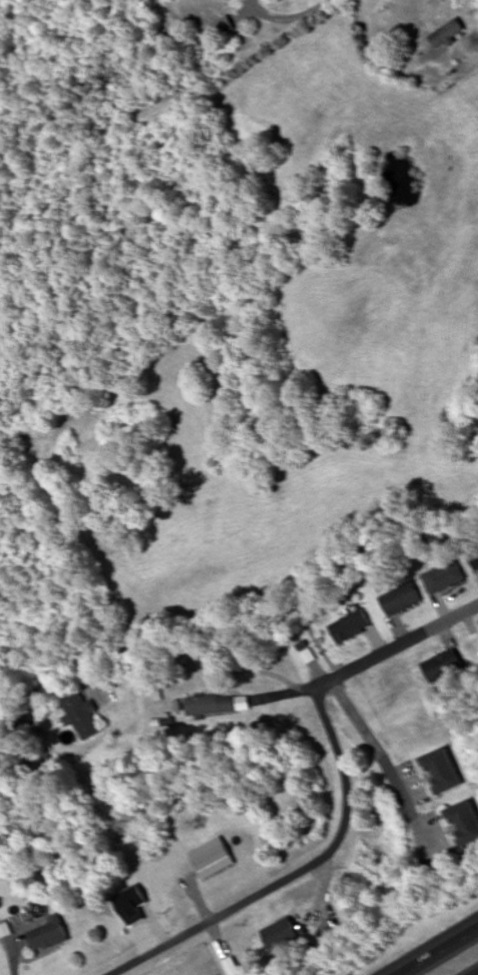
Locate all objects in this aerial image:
building: (223, 27)
building: (447, 35)
building: (475, 561)
building: (444, 578)
building: (401, 600)
building: (351, 628)
building: (476, 637)
road: (396, 646)
building: (442, 667)
building: (211, 706)
building: (80, 718)
road: (387, 767)
building: (442, 772)
building: (464, 824)
road: (298, 874)
building: (48, 936)
building: (282, 936)
road: (440, 952)

